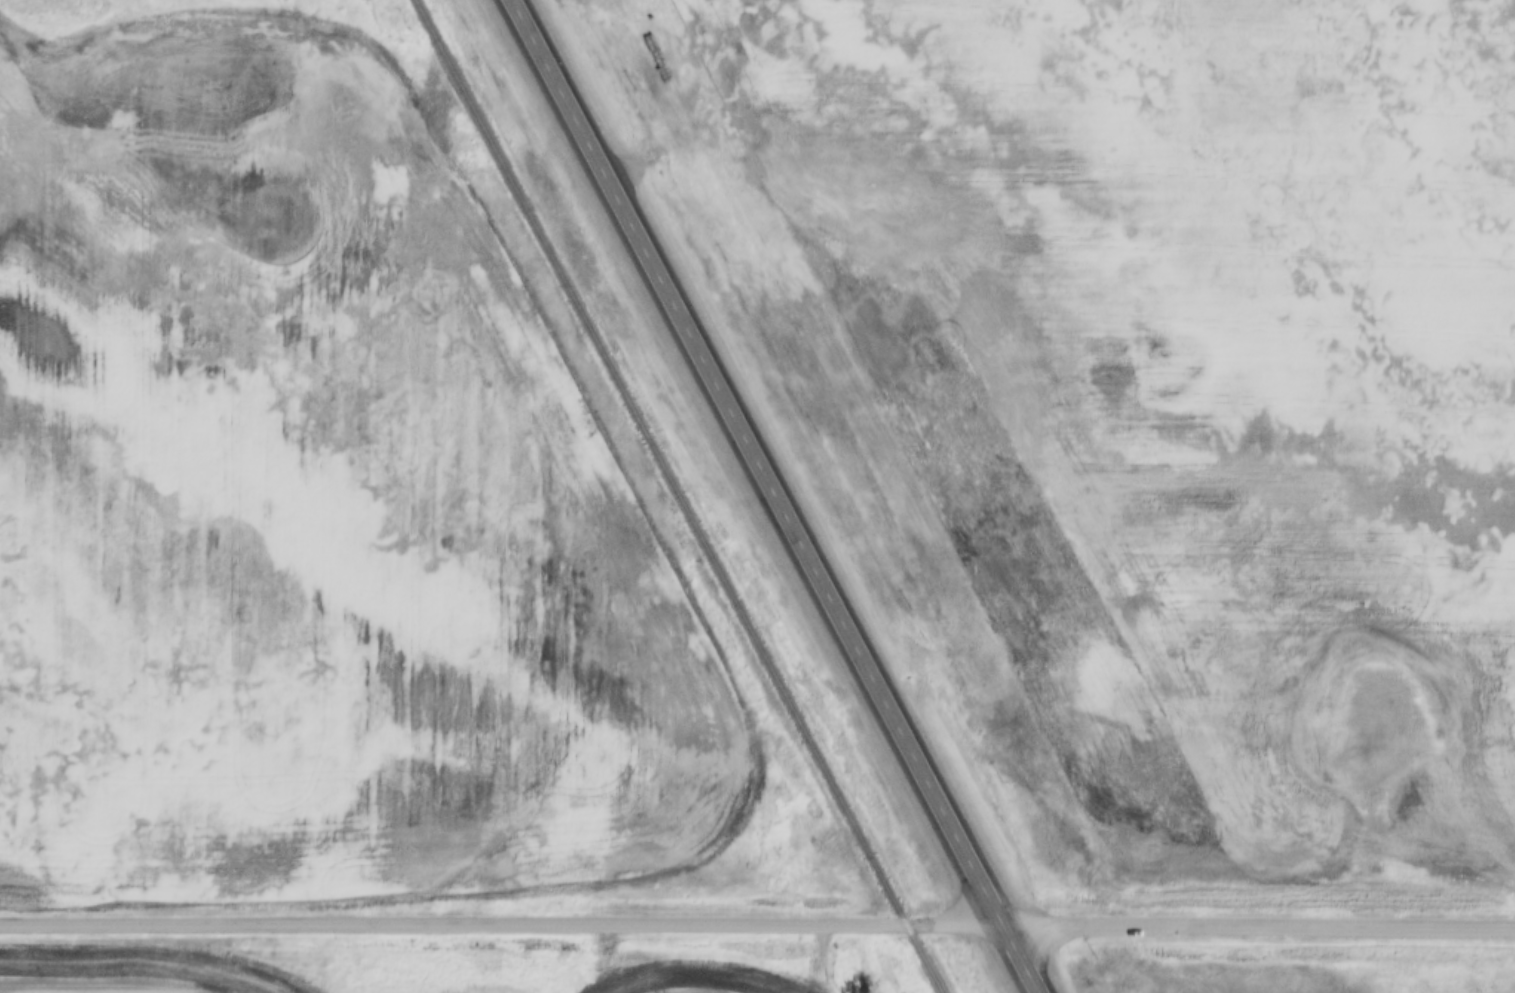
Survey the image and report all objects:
railway: (674, 496)
road: (770, 496)
road: (757, 923)

